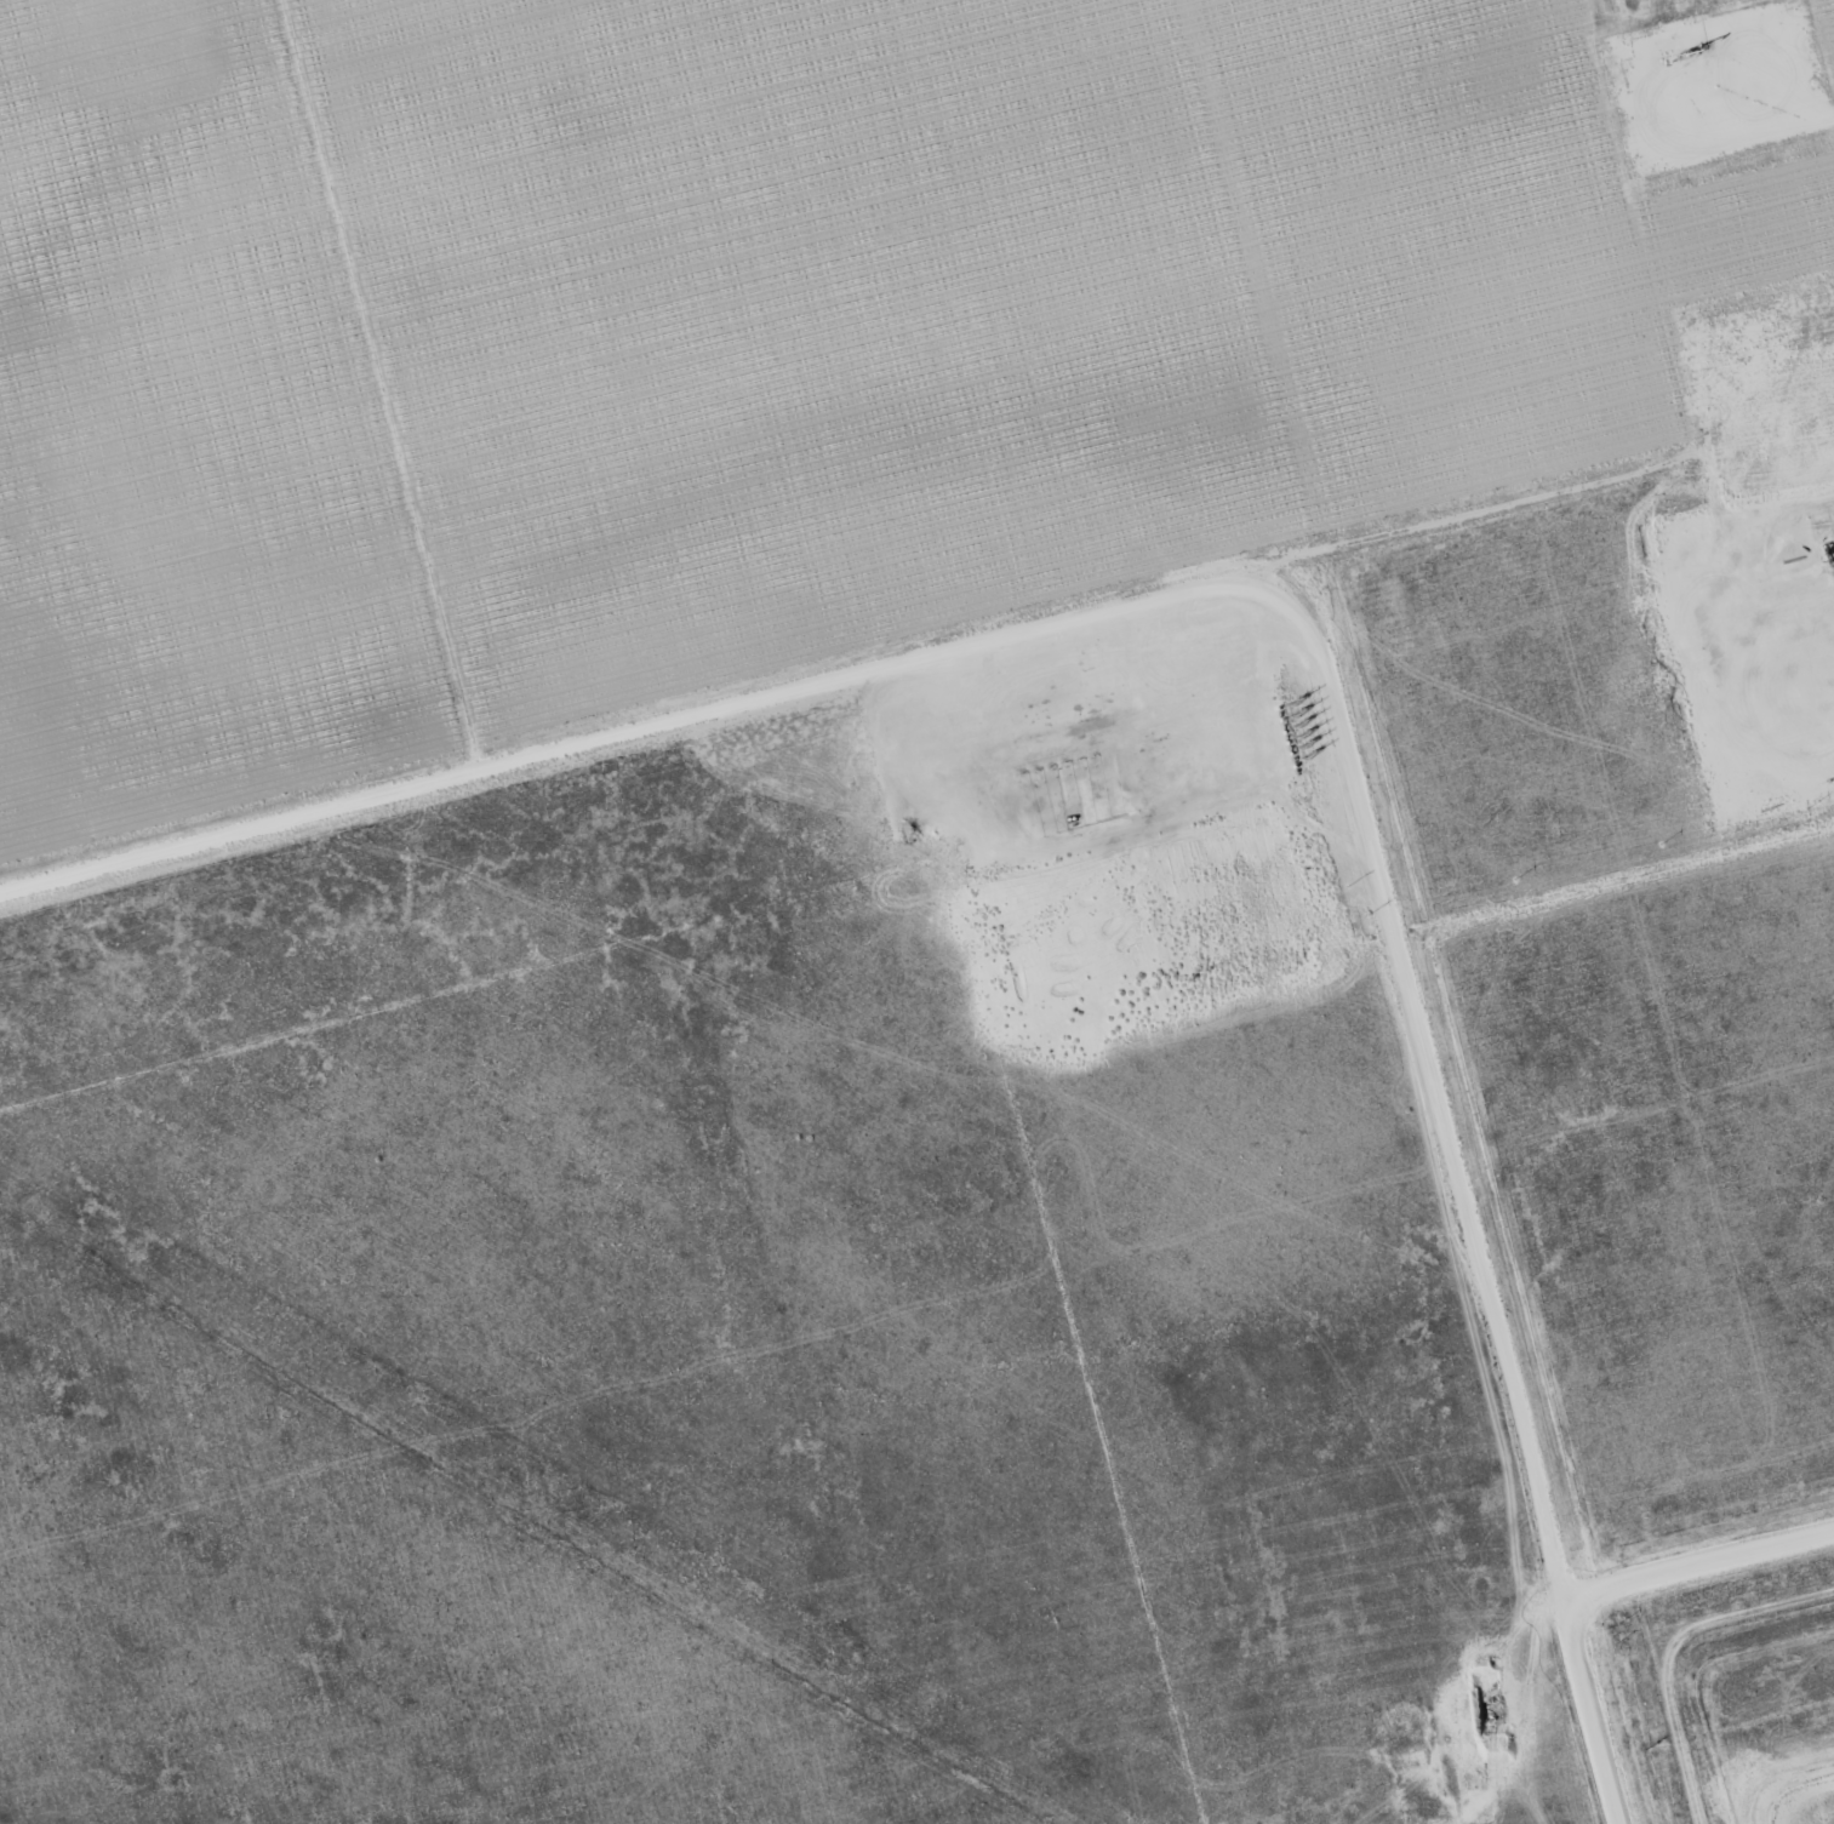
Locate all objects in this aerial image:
road: (1589, 1579)

